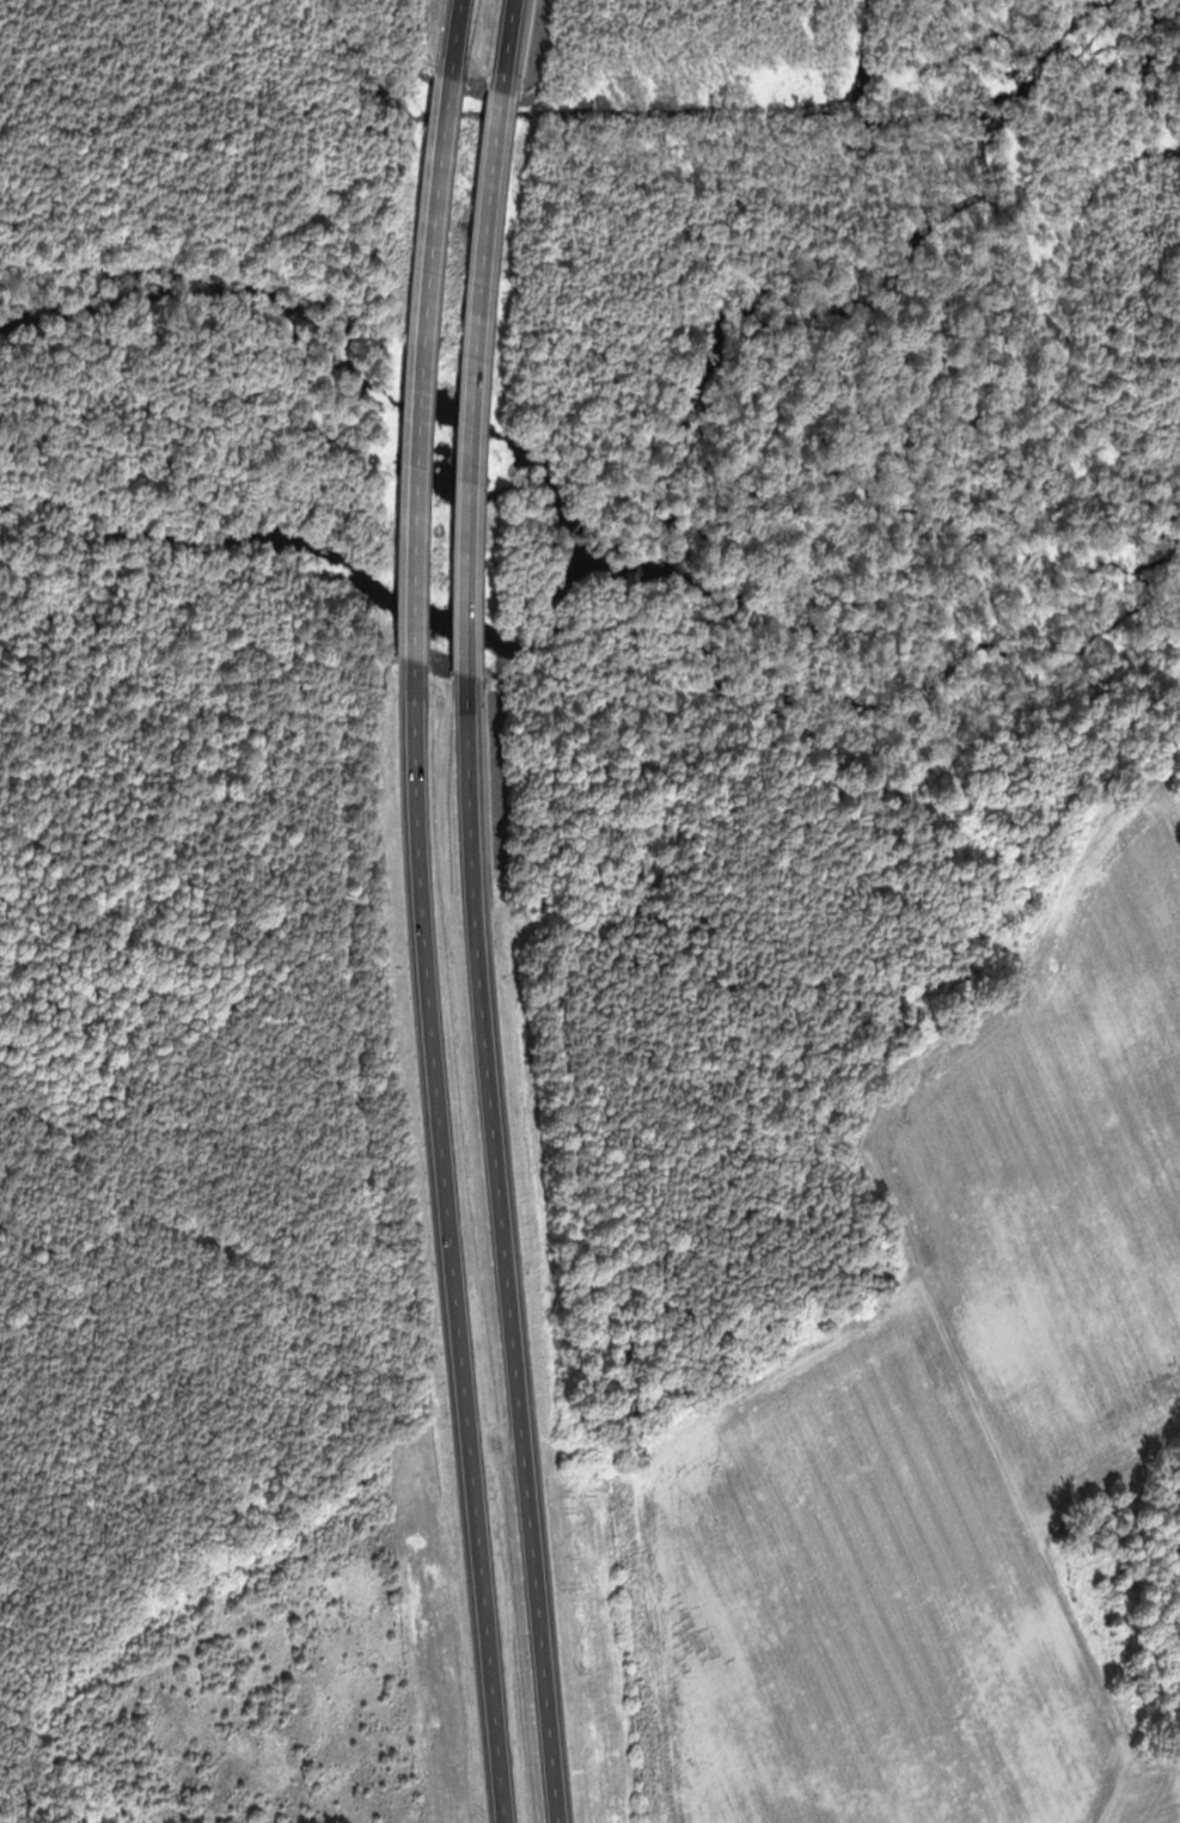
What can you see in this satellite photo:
road: (430, 911)
road: (493, 911)

